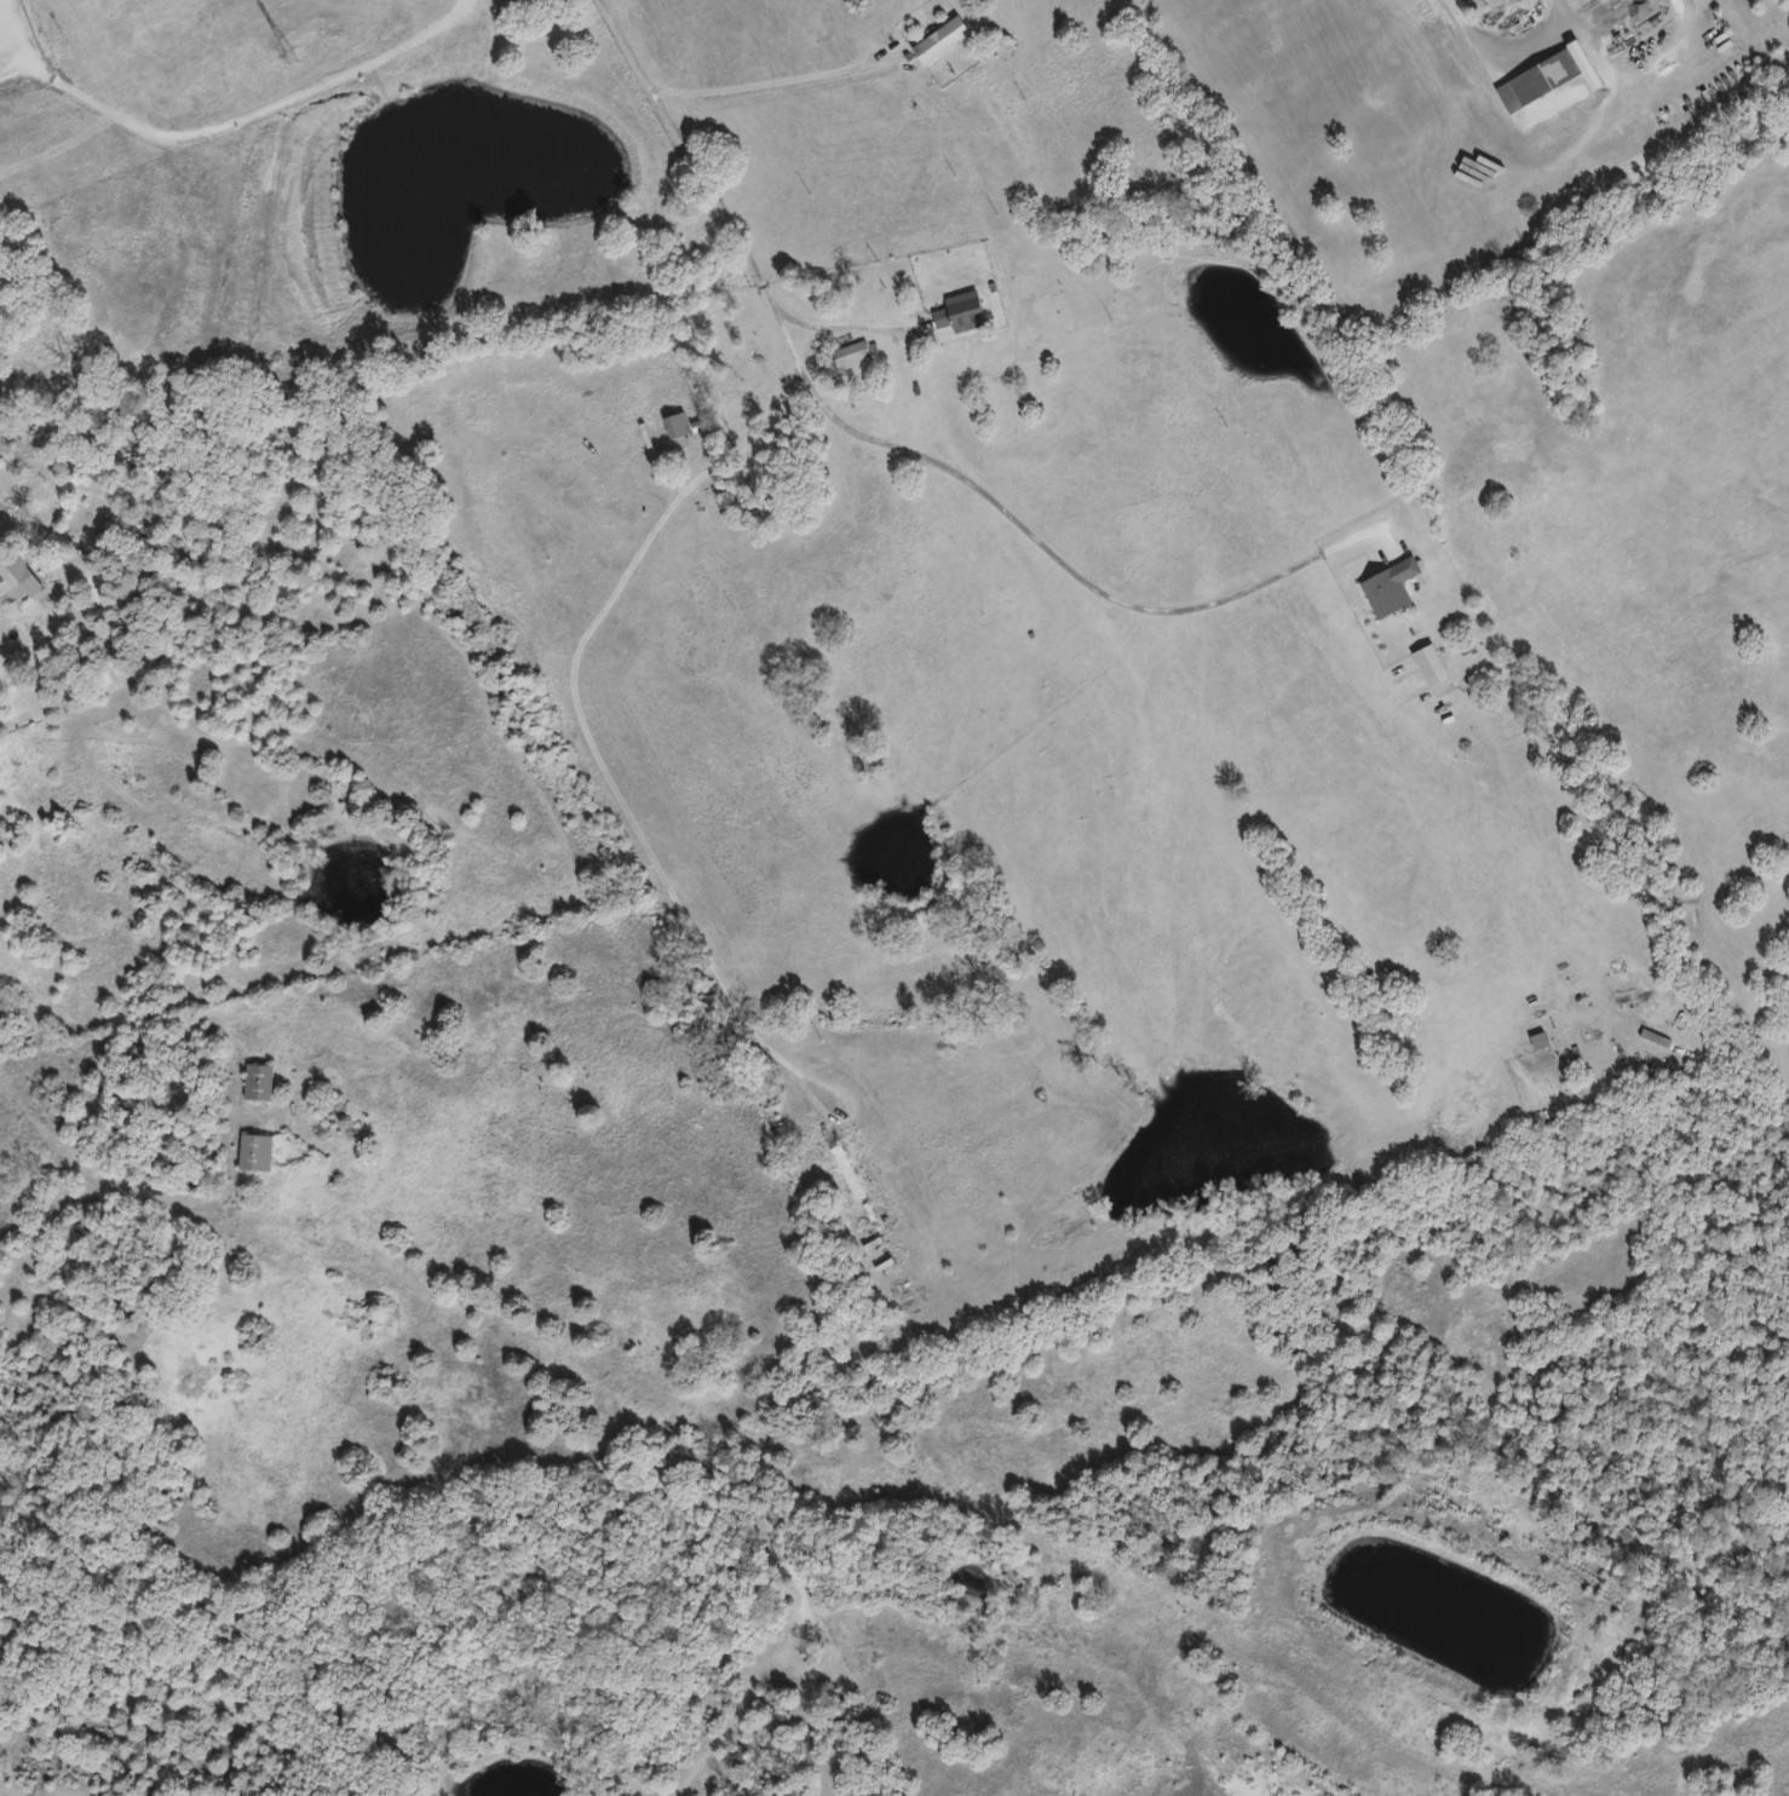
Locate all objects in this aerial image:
building: (933, 38)
road: (1495, 52)
power tower: (287, 53)
road: (789, 76)
building: (1532, 76)
road: (237, 115)
road: (694, 150)
building: (945, 309)
road: (838, 326)
building: (849, 352)
building: (672, 422)
road: (1018, 522)
building: (17, 586)
road: (13, 685)
road: (580, 721)
building: (1534, 1038)
building: (264, 1080)
building: (260, 1151)
building: (841, 1168)

